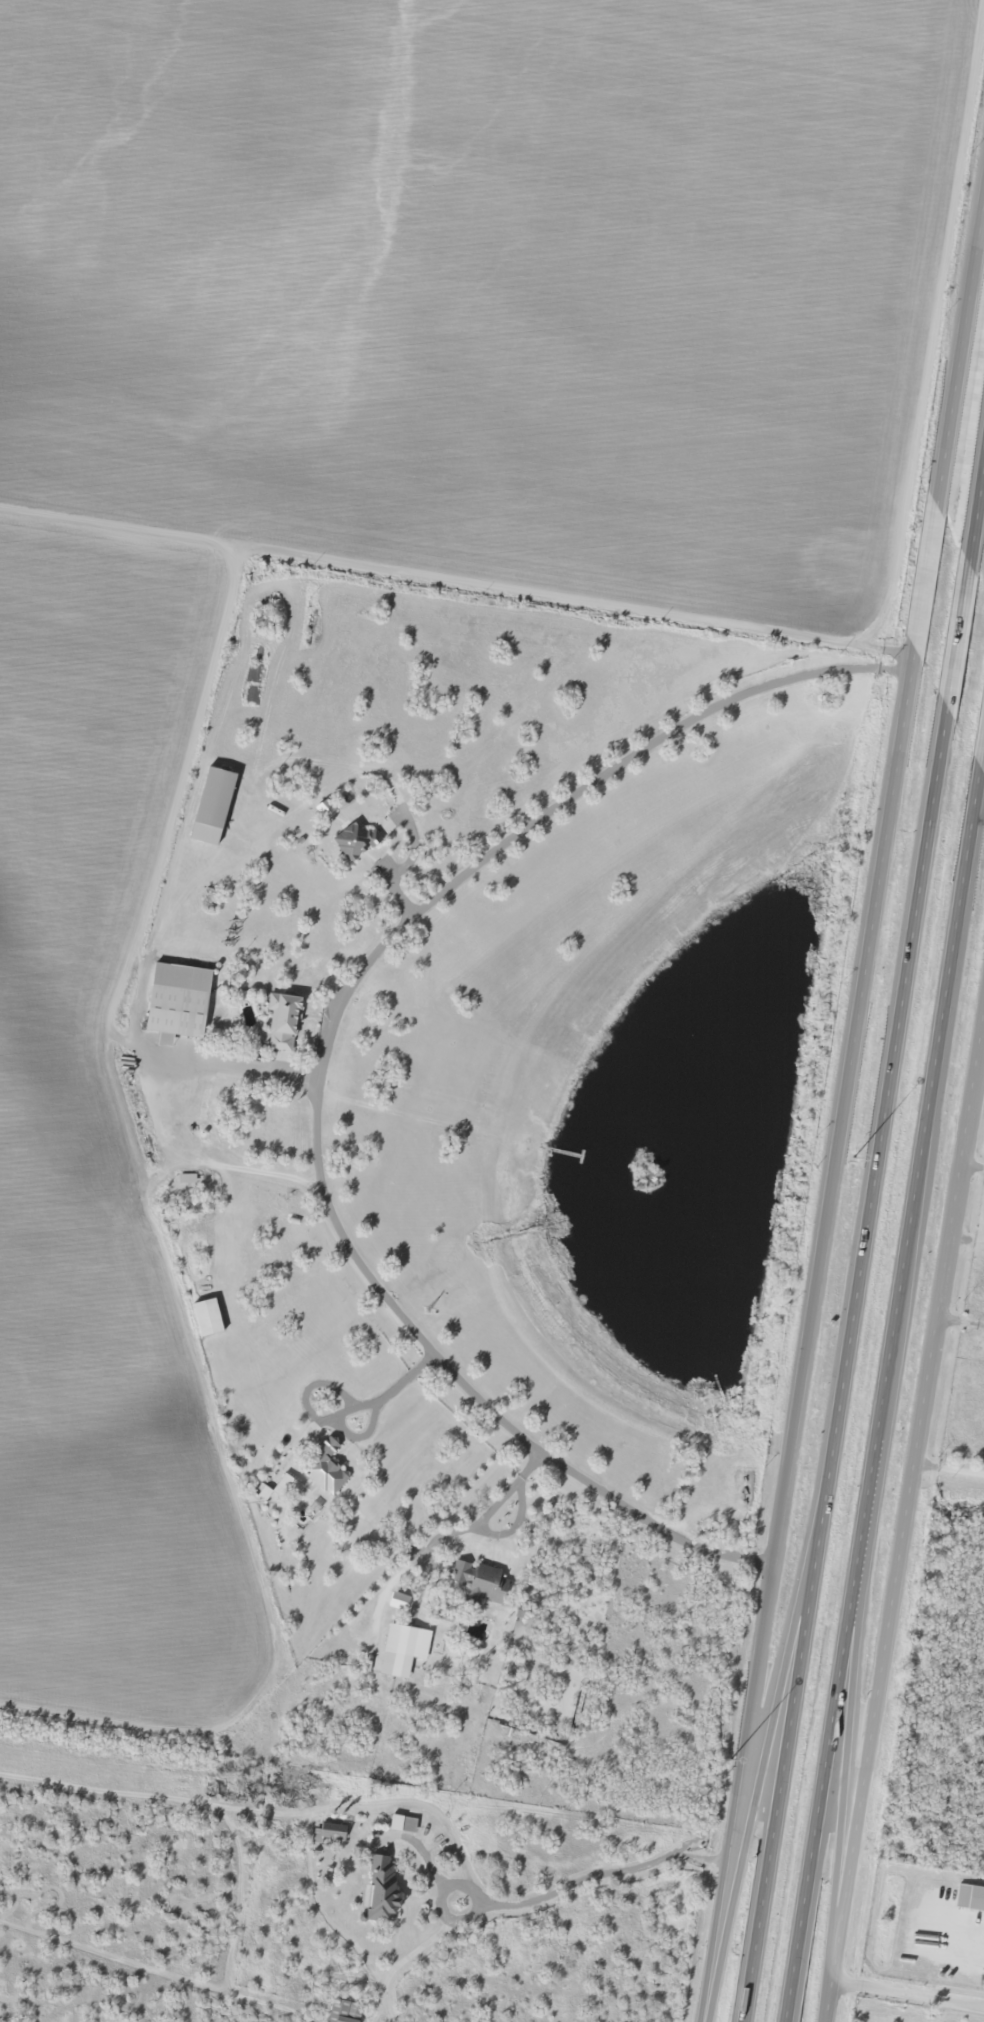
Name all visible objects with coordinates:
building: (212, 807)
building: (354, 841)
road: (923, 853)
road: (942, 998)
building: (175, 1013)
building: (282, 1018)
road: (319, 1056)
road: (844, 1075)
road: (970, 1165)
building: (207, 1317)
building: (324, 1469)
road: (905, 1490)
building: (460, 1573)
building: (486, 1586)
building: (400, 1640)
road: (802, 1656)
road: (845, 1658)
road: (768, 1731)
road: (850, 1735)
building: (332, 1831)
road: (917, 1849)
building: (382, 1887)
building: (969, 1898)
road: (905, 1994)
building: (344, 2012)
road: (822, 2012)

